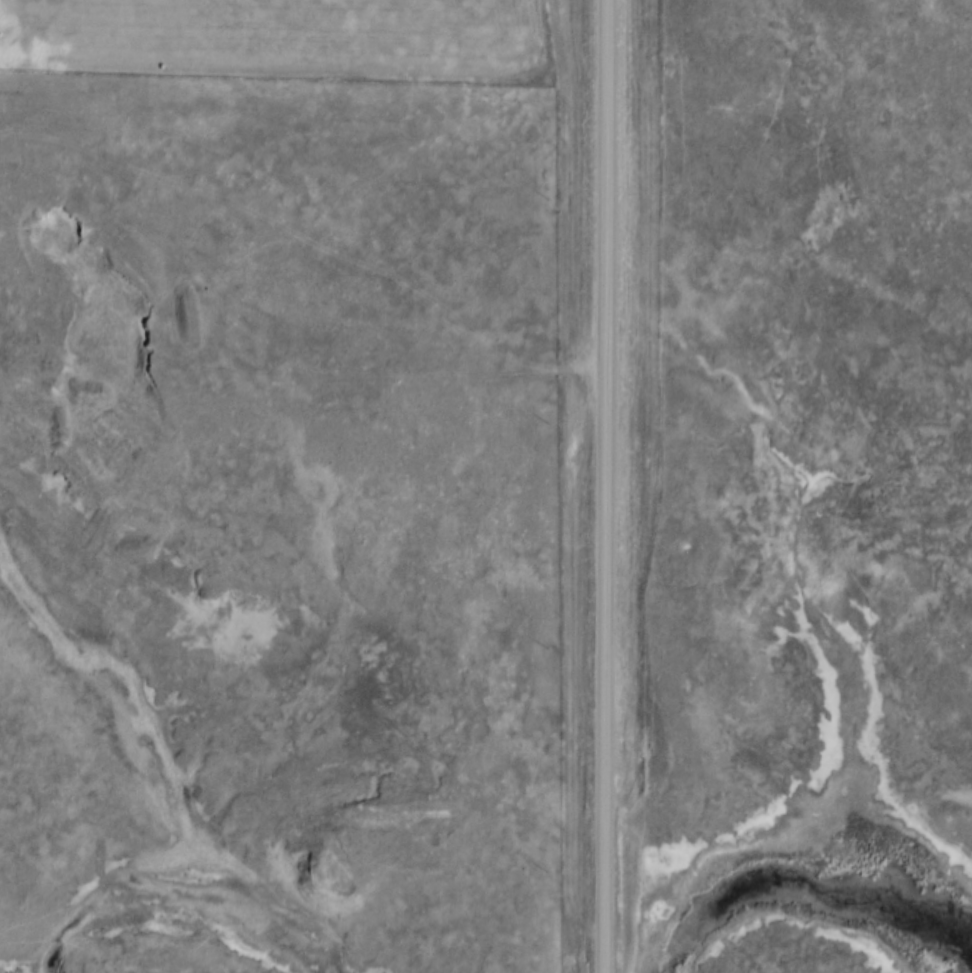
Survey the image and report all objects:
road: (608, 486)

